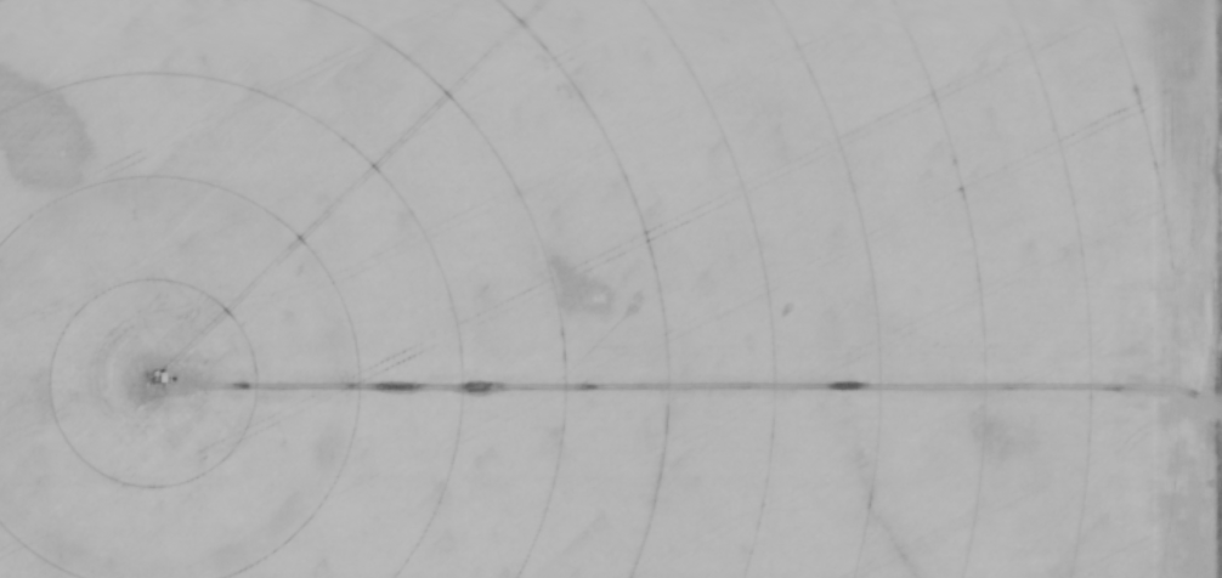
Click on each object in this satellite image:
crop: (594, 290)

